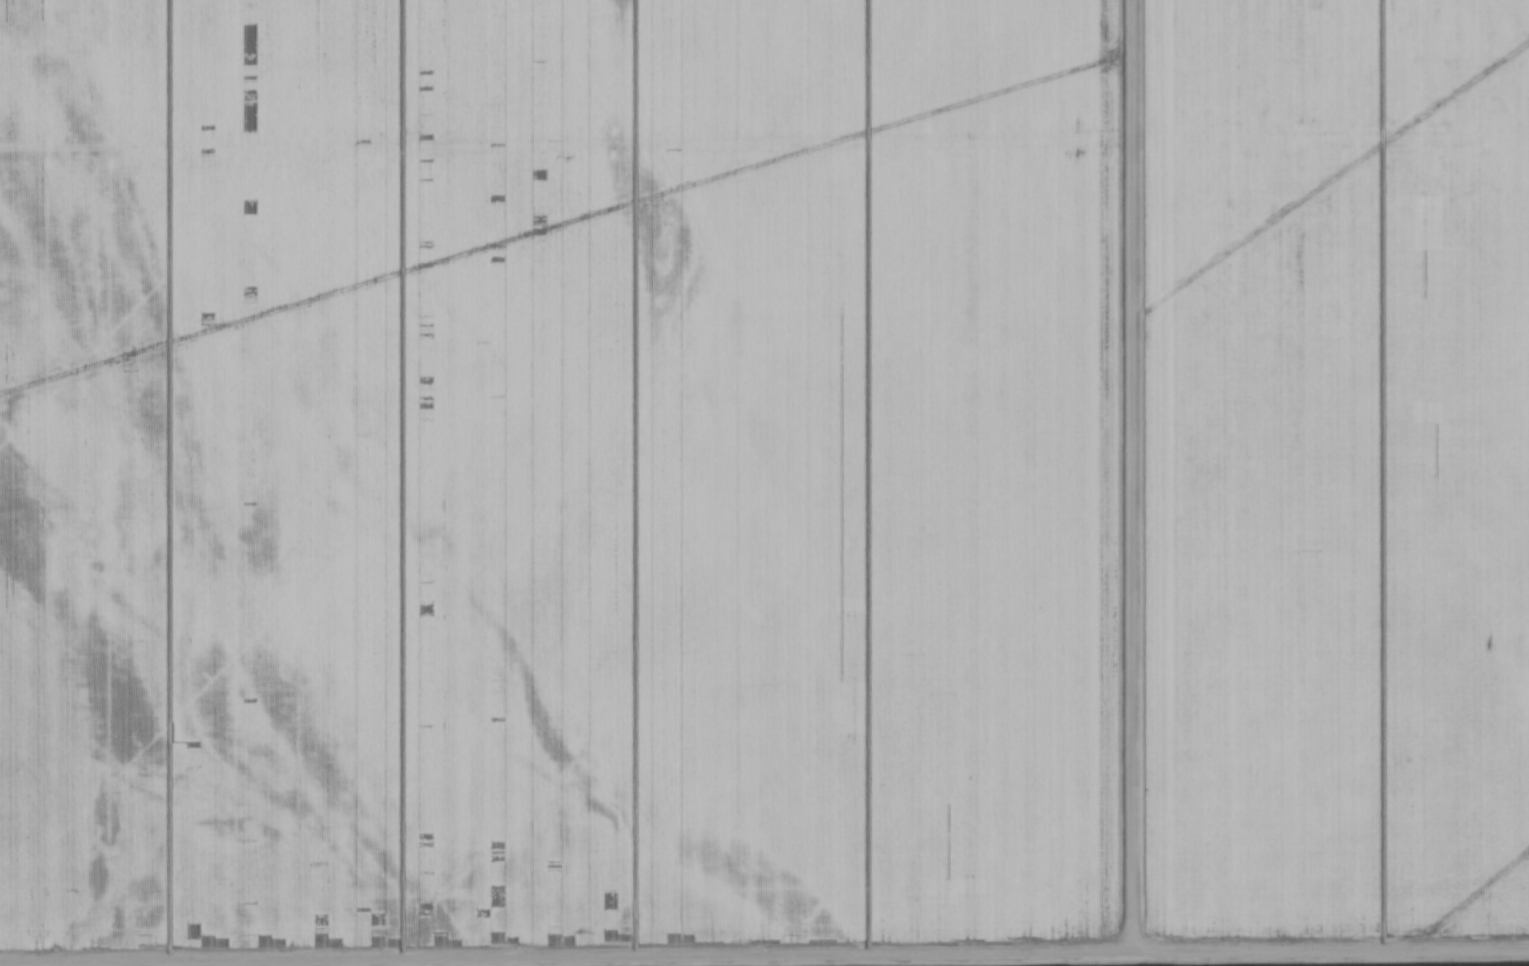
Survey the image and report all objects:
road: (1120, 476)

